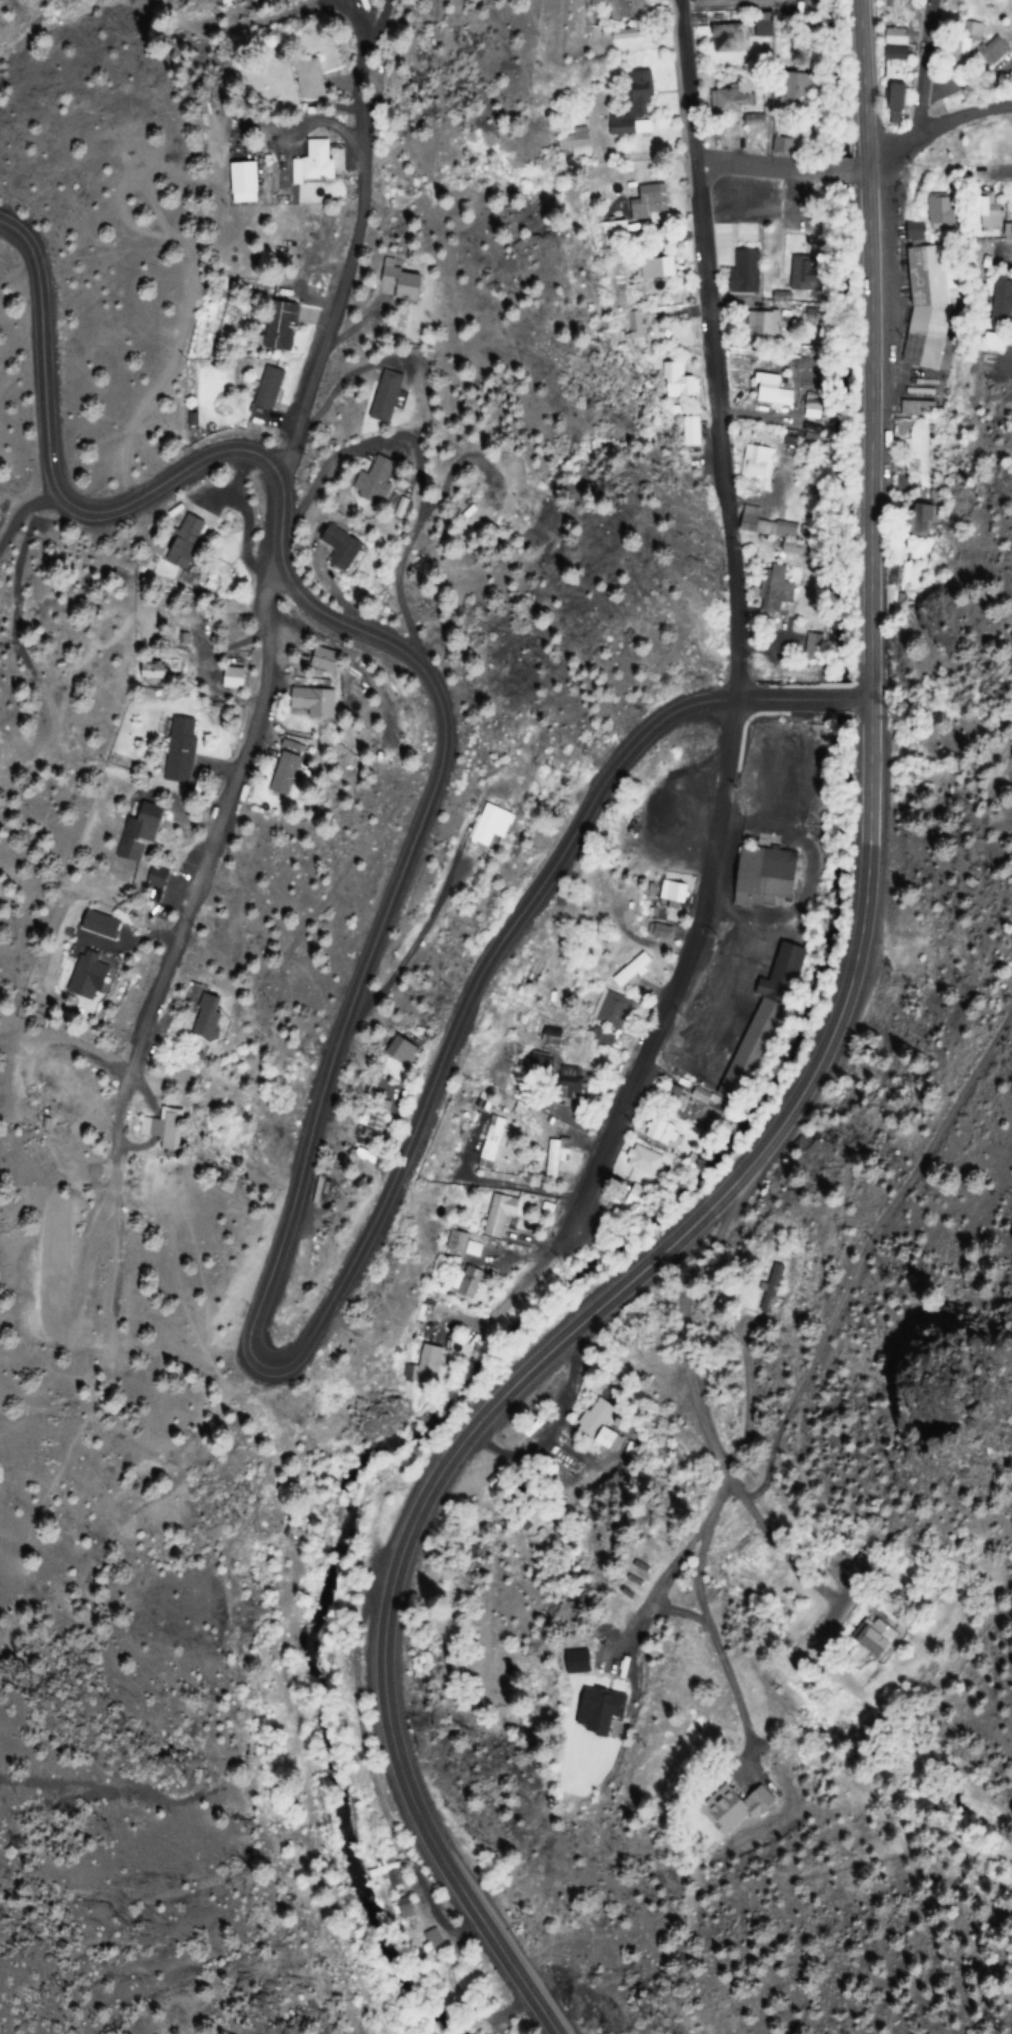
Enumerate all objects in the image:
building: (622, 10)
road: (257, 21)
building: (757, 26)
building: (967, 33)
building: (891, 36)
building: (723, 39)
building: (993, 53)
building: (889, 54)
road: (923, 62)
building: (307, 88)
building: (787, 88)
road: (959, 89)
building: (731, 97)
building: (890, 98)
building: (632, 108)
road: (930, 119)
building: (570, 142)
building: (311, 159)
road: (777, 167)
road: (999, 170)
building: (645, 204)
building: (977, 212)
building: (929, 217)
road: (349, 247)
building: (653, 268)
building: (745, 271)
building: (795, 274)
building: (393, 280)
building: (996, 300)
building: (926, 306)
building: (758, 325)
building: (272, 326)
building: (640, 328)
building: (984, 343)
road: (869, 351)
building: (678, 381)
building: (766, 389)
building: (262, 390)
building: (379, 396)
building: (913, 408)
building: (690, 431)
road: (53, 479)
building: (368, 480)
building: (764, 527)
building: (176, 542)
building: (334, 546)
building: (775, 591)
building: (809, 648)
road: (738, 679)
building: (303, 703)
building: (175, 750)
building: (488, 827)
building: (134, 832)
building: (758, 876)
building: (671, 894)
building: (96, 924)
building: (659, 931)
road: (179, 937)
building: (632, 971)
building: (86, 978)
building: (610, 1010)
building: (197, 1018)
building: (402, 1054)
building: (564, 1082)
building: (376, 1119)
building: (162, 1123)
building: (659, 1135)
building: (491, 1144)
building: (553, 1156)
building: (641, 1162)
building: (483, 1227)
building: (467, 1282)
road: (699, 1352)
road: (543, 1354)
road: (263, 1368)
road: (814, 1400)
building: (593, 1425)
building: (569, 1468)
road: (818, 1521)
building: (564, 1665)
building: (387, 1872)
building: (403, 1909)

